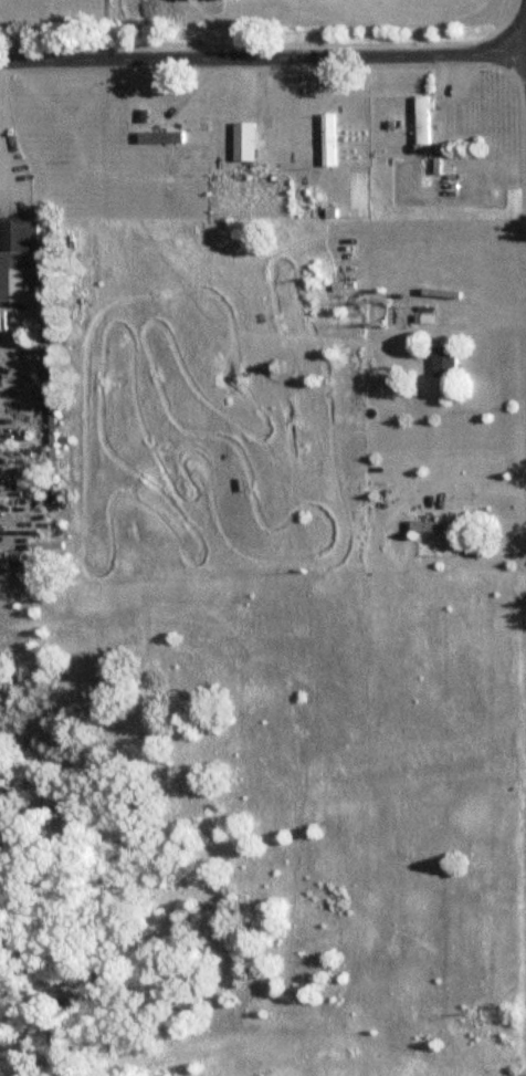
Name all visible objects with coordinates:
road: (263, 60)
building: (428, 121)
building: (333, 140)
road: (2, 144)
building: (252, 146)
building: (22, 237)
building: (451, 362)
road: (467, 490)
building: (440, 527)
road: (525, 1004)

